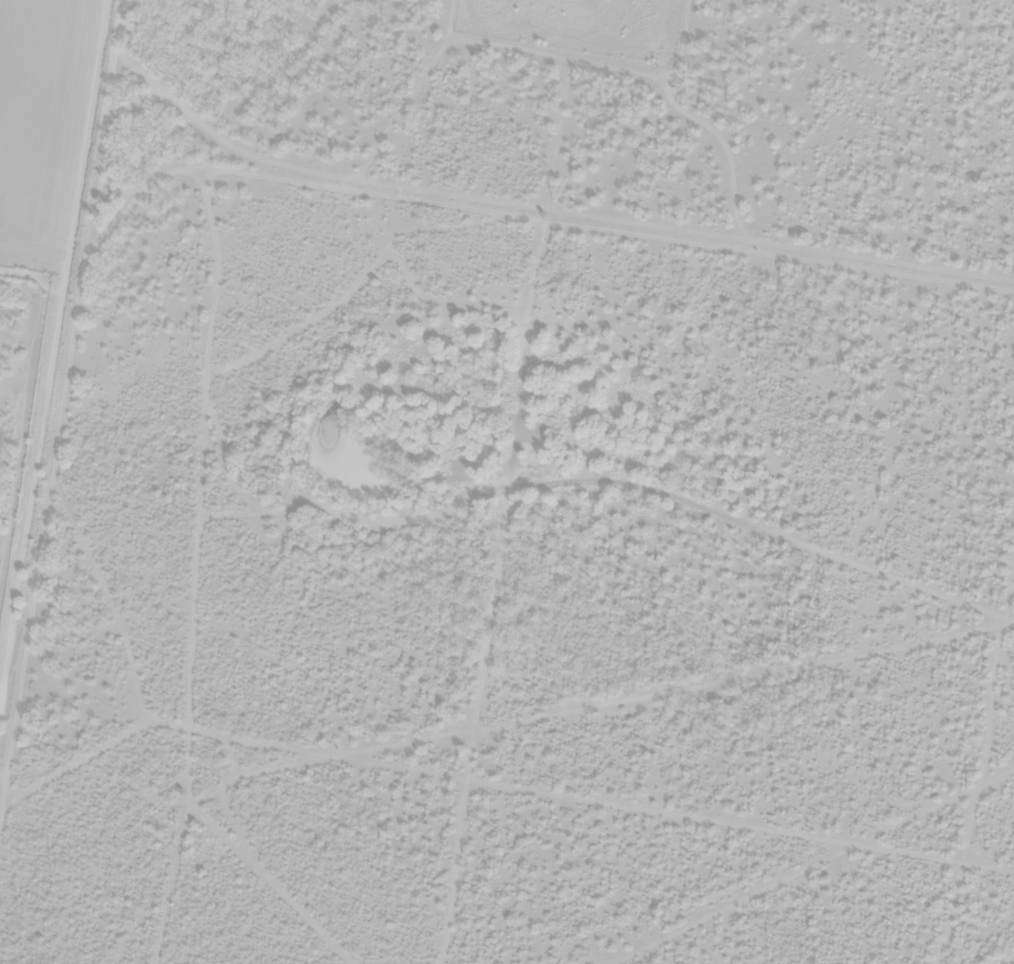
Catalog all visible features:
road: (13, 381)
road: (919, 881)

